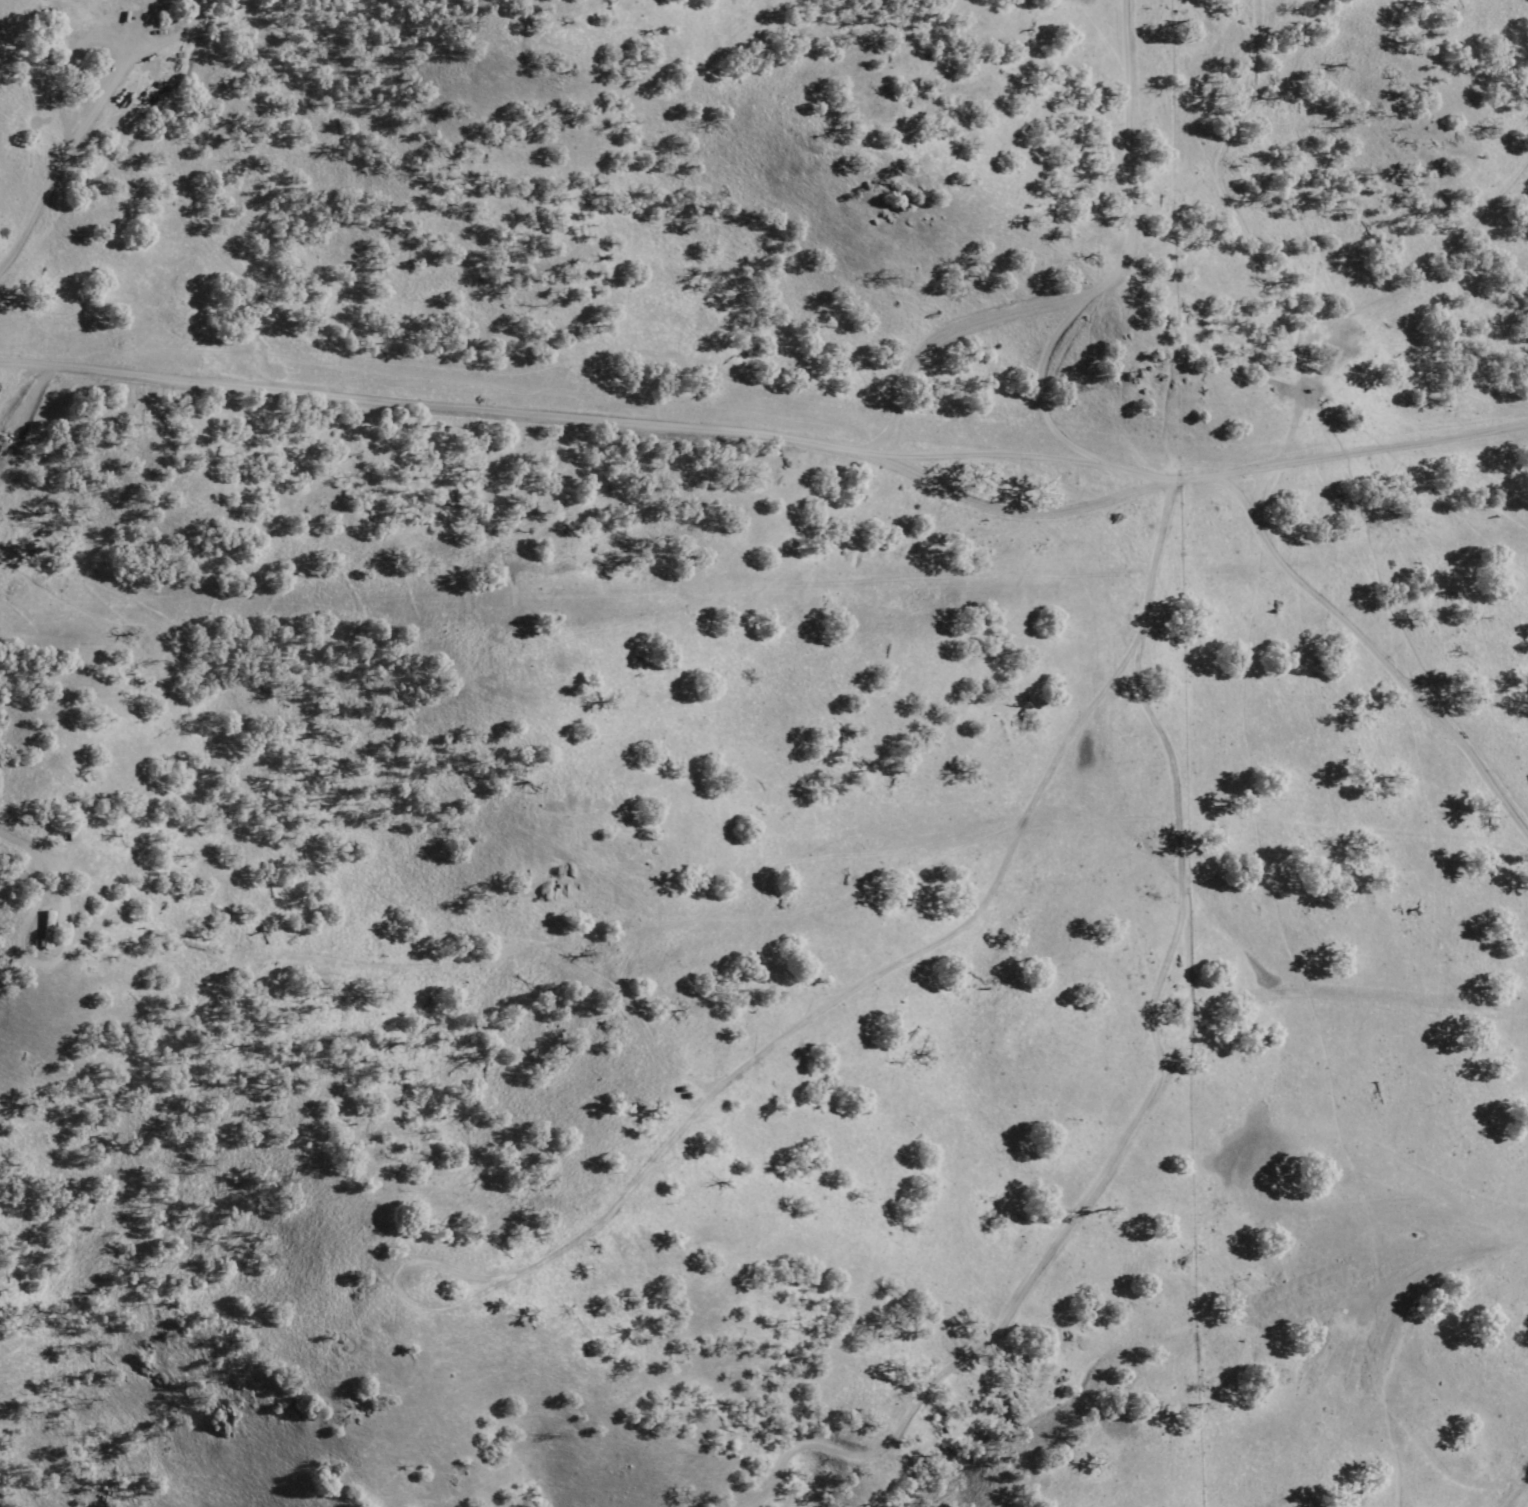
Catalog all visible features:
road: (1127, 307)
road: (775, 447)
building: (44, 930)
road: (1342, 1010)
road: (1166, 1087)

